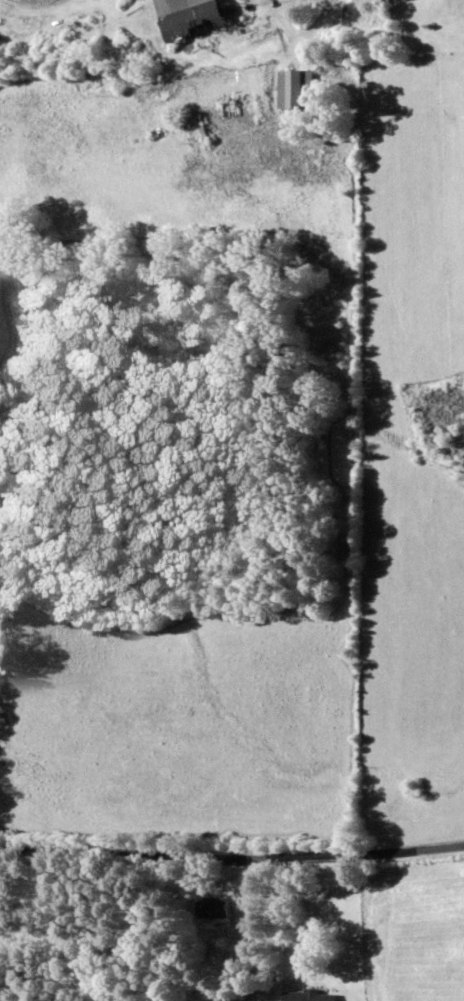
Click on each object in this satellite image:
building: (198, 17)
building: (300, 88)
road: (232, 863)
building: (216, 908)
building: (313, 996)

